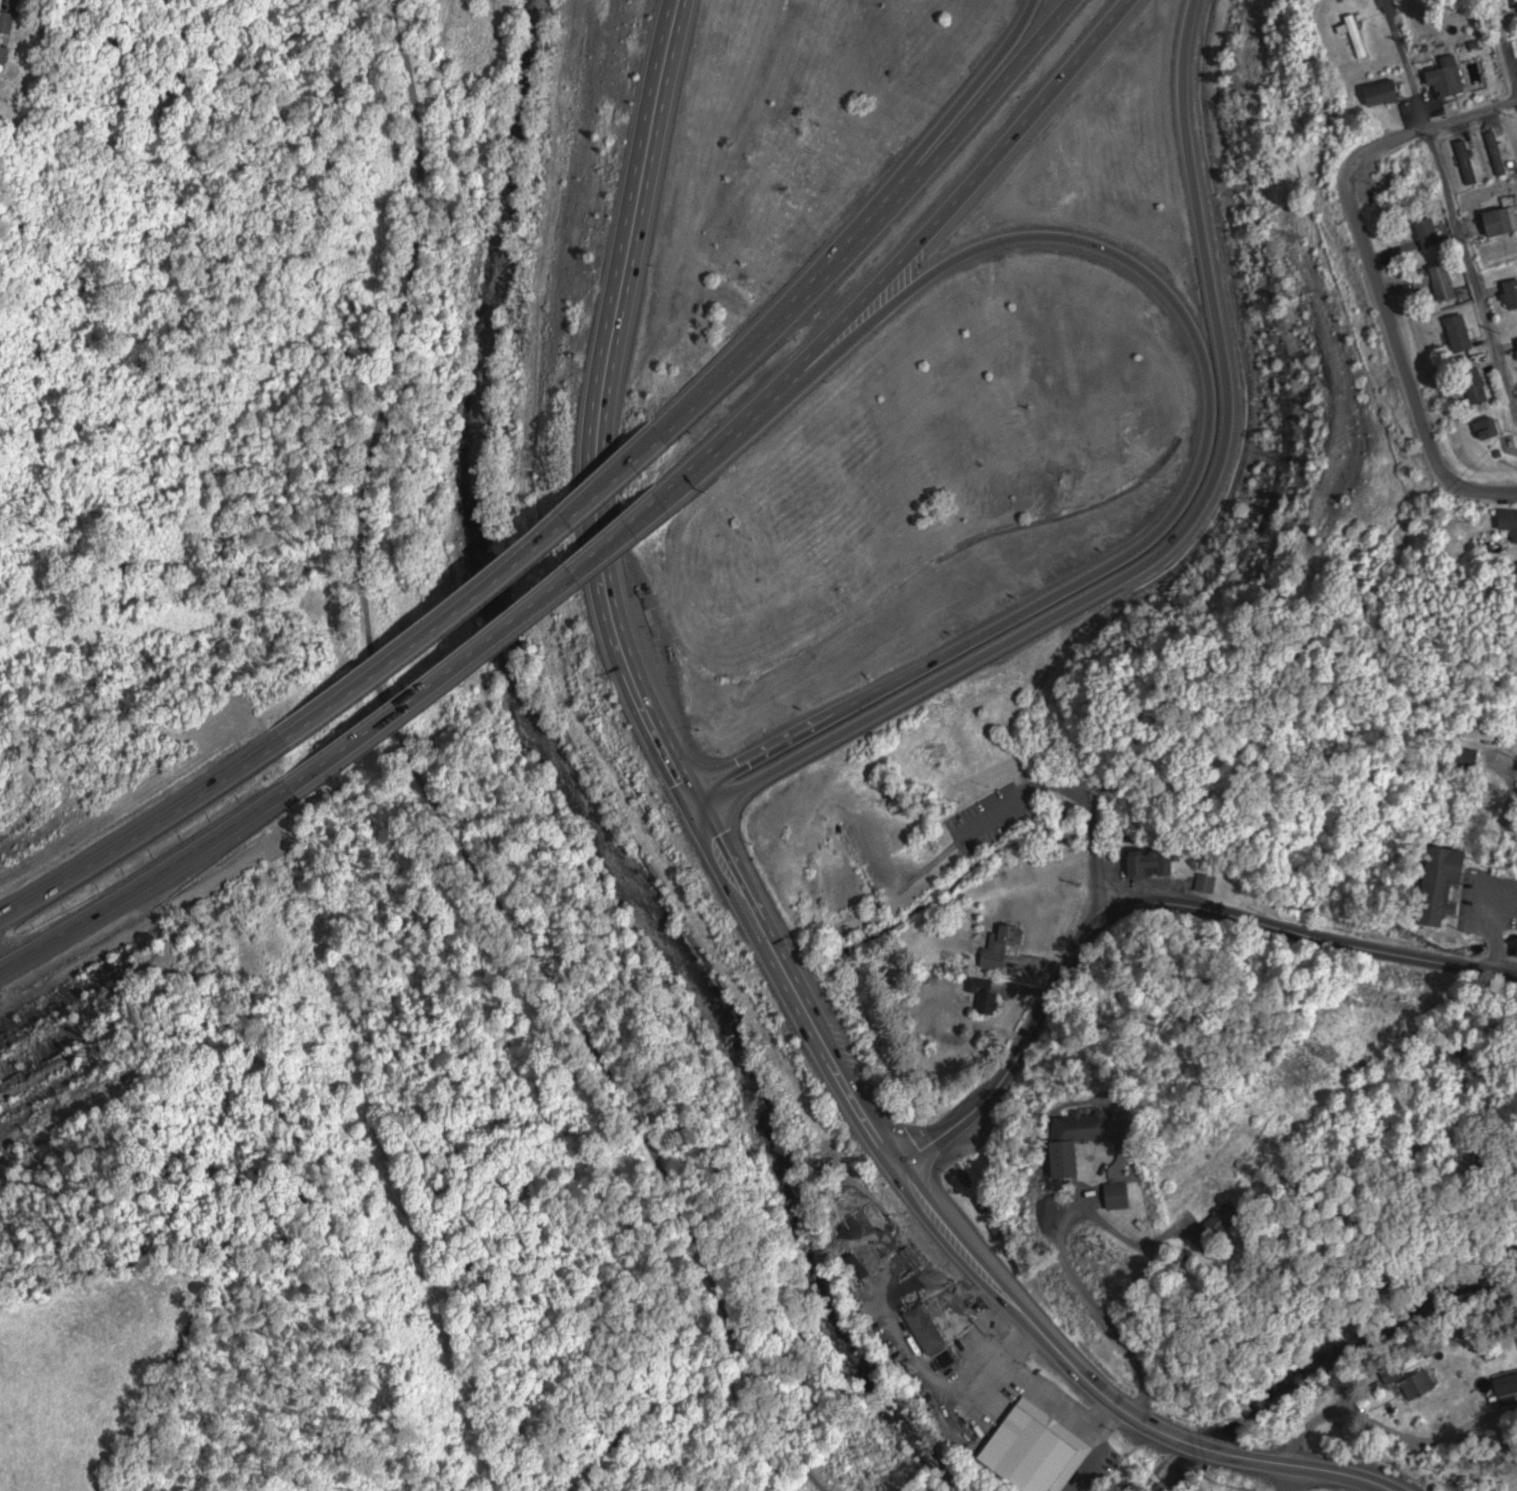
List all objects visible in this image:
building: (8, 21)
building: (1360, 35)
road: (1508, 39)
building: (5, 54)
building: (1449, 79)
building: (1385, 93)
road: (1419, 129)
road: (913, 165)
road: (1454, 202)
building: (1497, 219)
road: (881, 225)
building: (1425, 231)
road: (639, 235)
road: (909, 258)
building: (1446, 281)
building: (1508, 294)
building: (1456, 332)
building: (1515, 344)
road: (1408, 365)
building: (1477, 384)
road: (1214, 413)
building: (1491, 427)
building: (1510, 518)
road: (1184, 539)
road: (485, 601)
road: (481, 660)
building: (1484, 733)
building: (1470, 757)
road: (1511, 779)
river: (564, 787)
road: (428, 789)
traffic signals: (701, 807)
parking lot: (1004, 813)
road: (714, 832)
road: (1103, 839)
road: (145, 840)
building: (1153, 862)
building: (1210, 882)
building: (1445, 882)
road: (142, 892)
road: (1330, 938)
building: (1004, 944)
road: (3, 966)
building: (988, 995)
road: (1032, 1038)
power tower: (1325, 1054)
building: (1080, 1136)
building: (1121, 1194)
building: (1228, 1215)
road: (1132, 1239)
road: (1106, 1312)
road: (1025, 1321)
building: (928, 1328)
river: (1324, 1365)
building: (1396, 1373)
building: (1421, 1383)
building: (1503, 1384)
road: (1309, 1428)
building: (1039, 1449)
road: (1201, 1451)
road: (1304, 1471)
road: (1290, 1480)
road: (1482, 1487)

